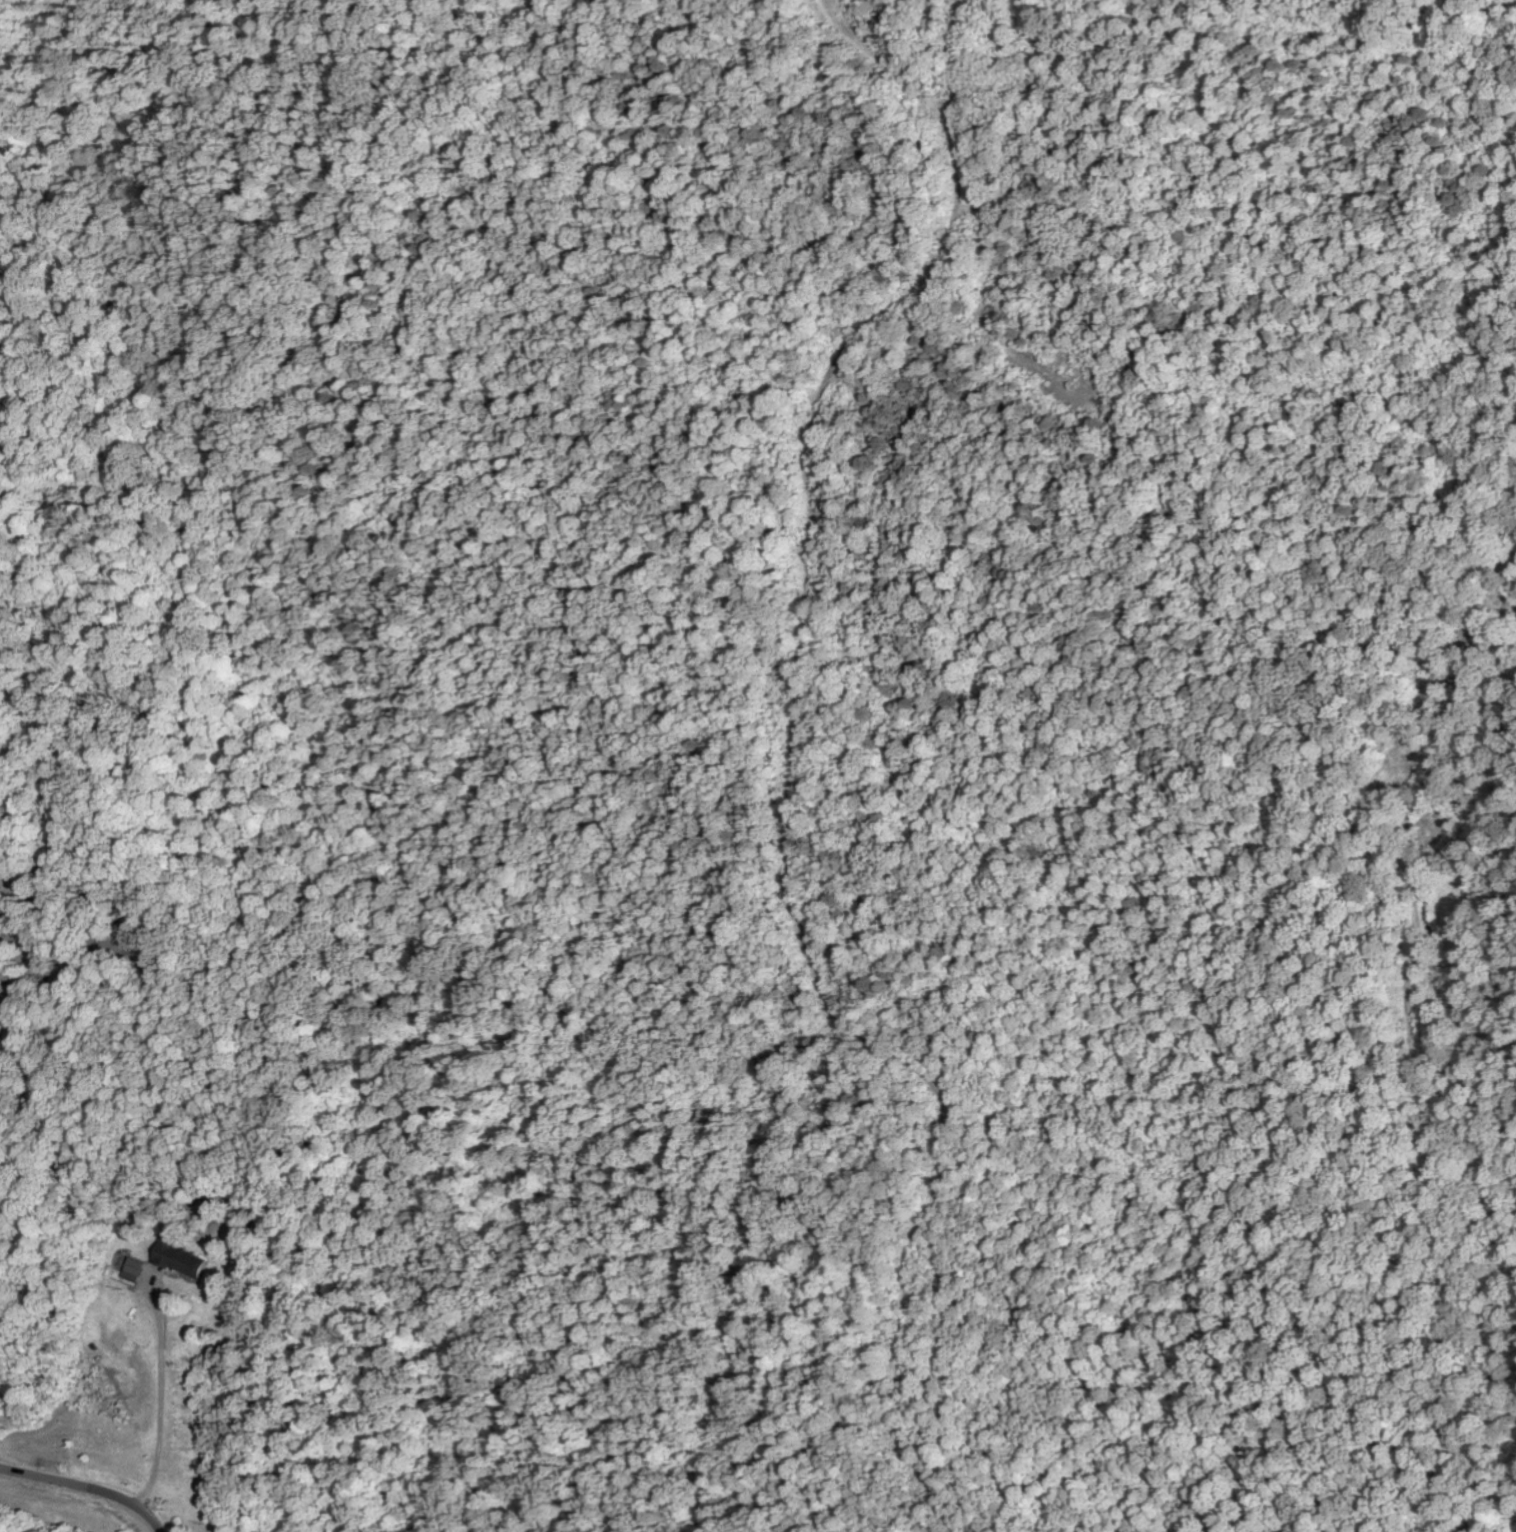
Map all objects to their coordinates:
building: (188, 1258)
building: (140, 1269)
road: (161, 1398)
road: (550, 1458)
road: (88, 1485)

